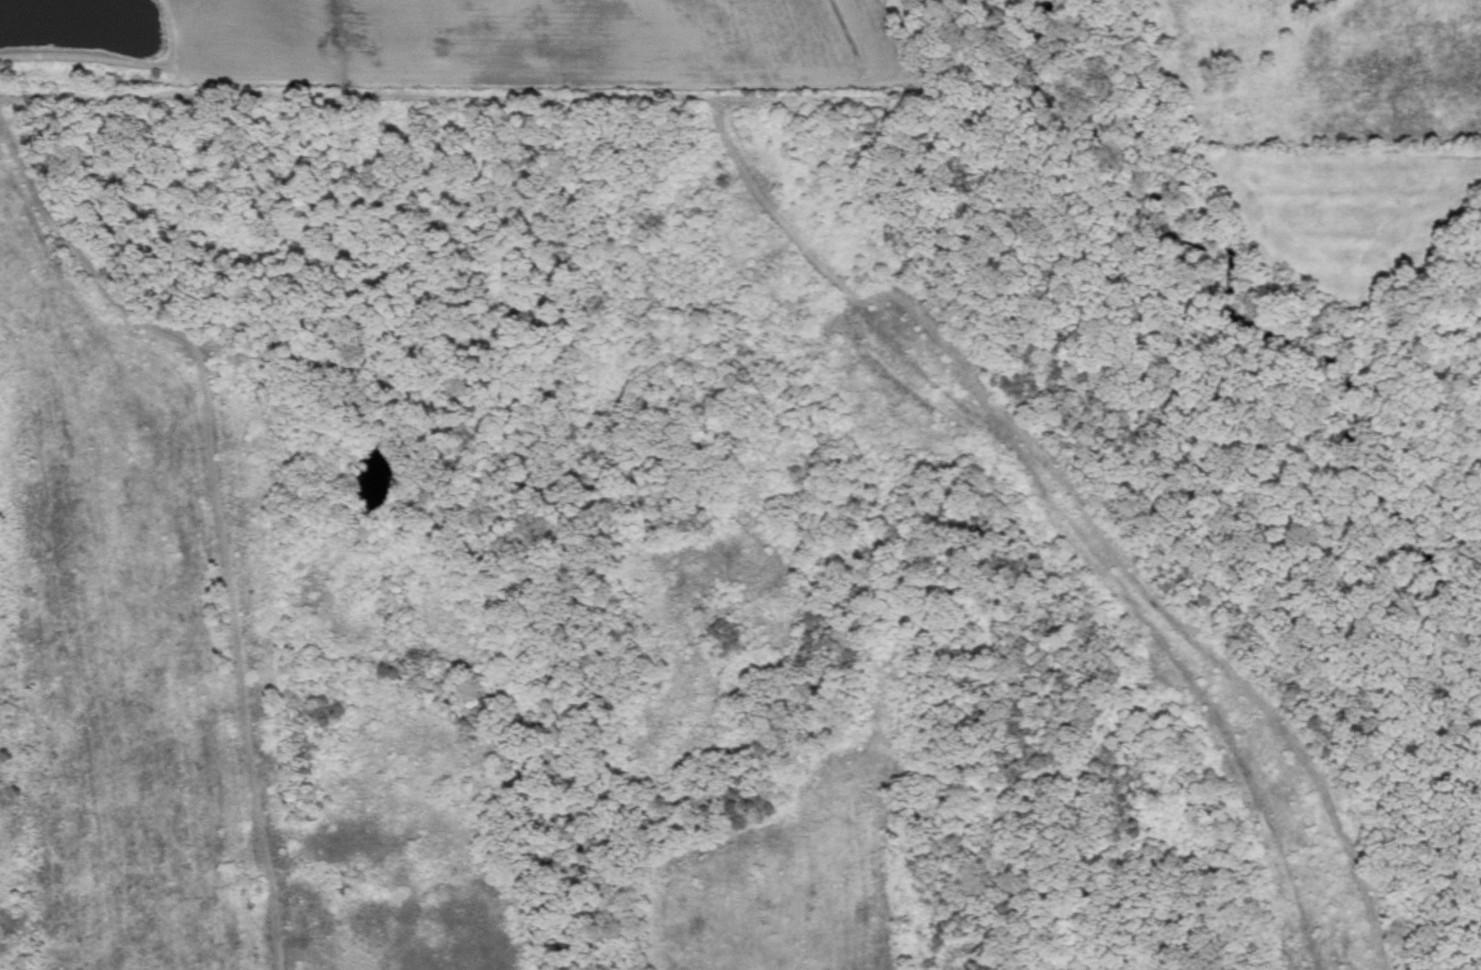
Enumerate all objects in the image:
park: (703, 552)

